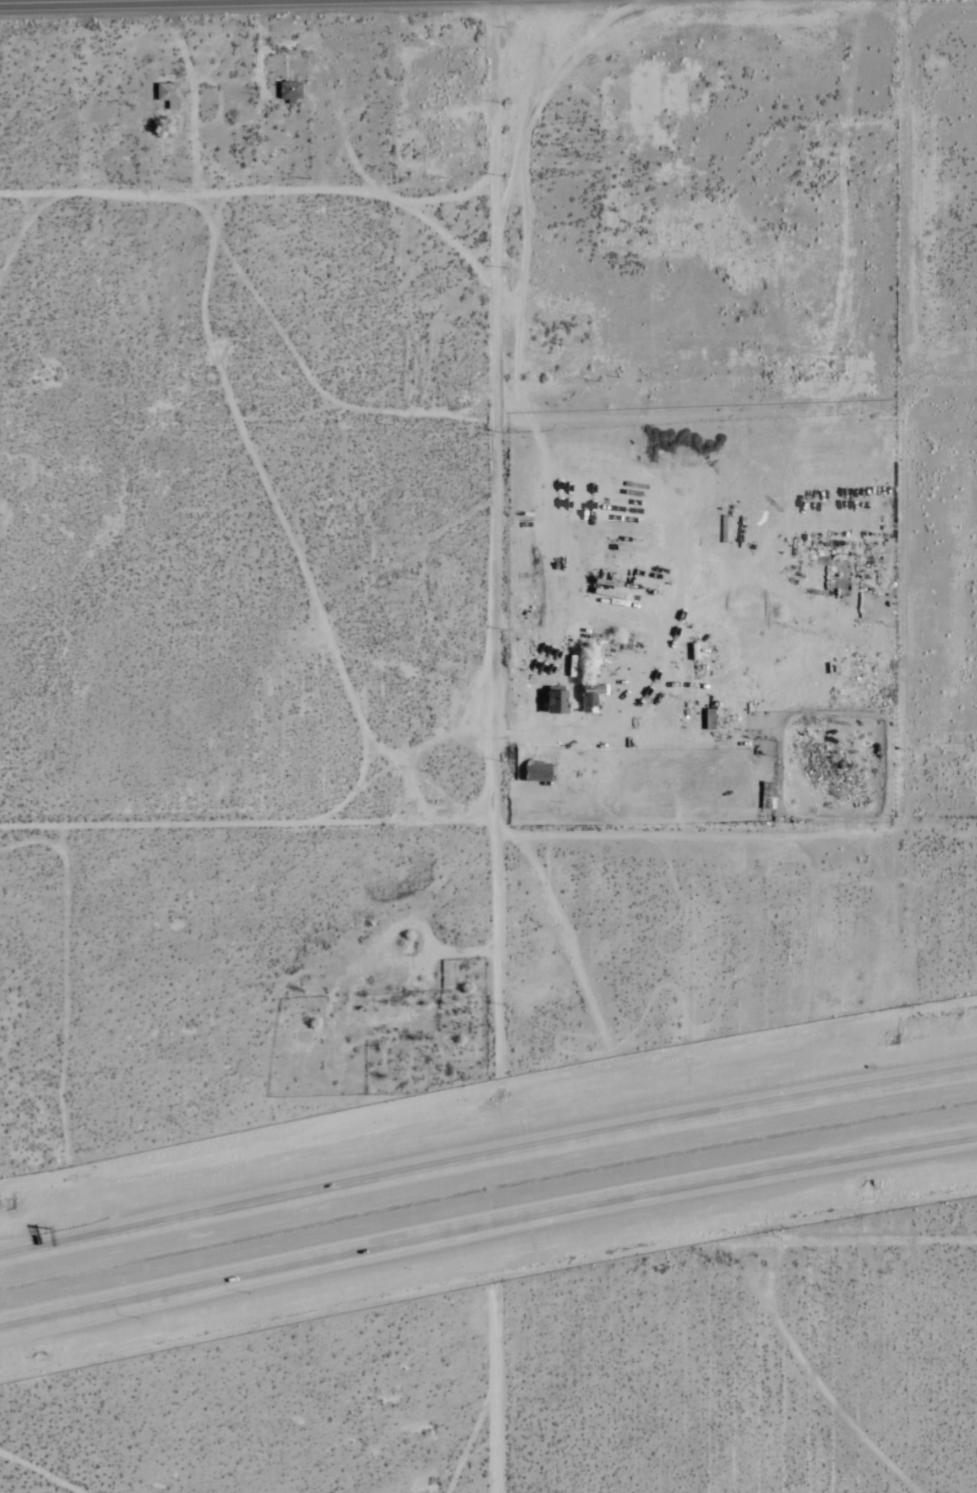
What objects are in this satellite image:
road: (258, 48)
building: (289, 92)
building: (167, 95)
road: (192, 95)
road: (493, 415)
road: (735, 1110)
road: (742, 1176)
road: (259, 1204)
road: (12, 1252)
road: (12, 1254)
road: (262, 1271)
road: (8, 1323)
road: (8, 1324)
road: (494, 1395)

